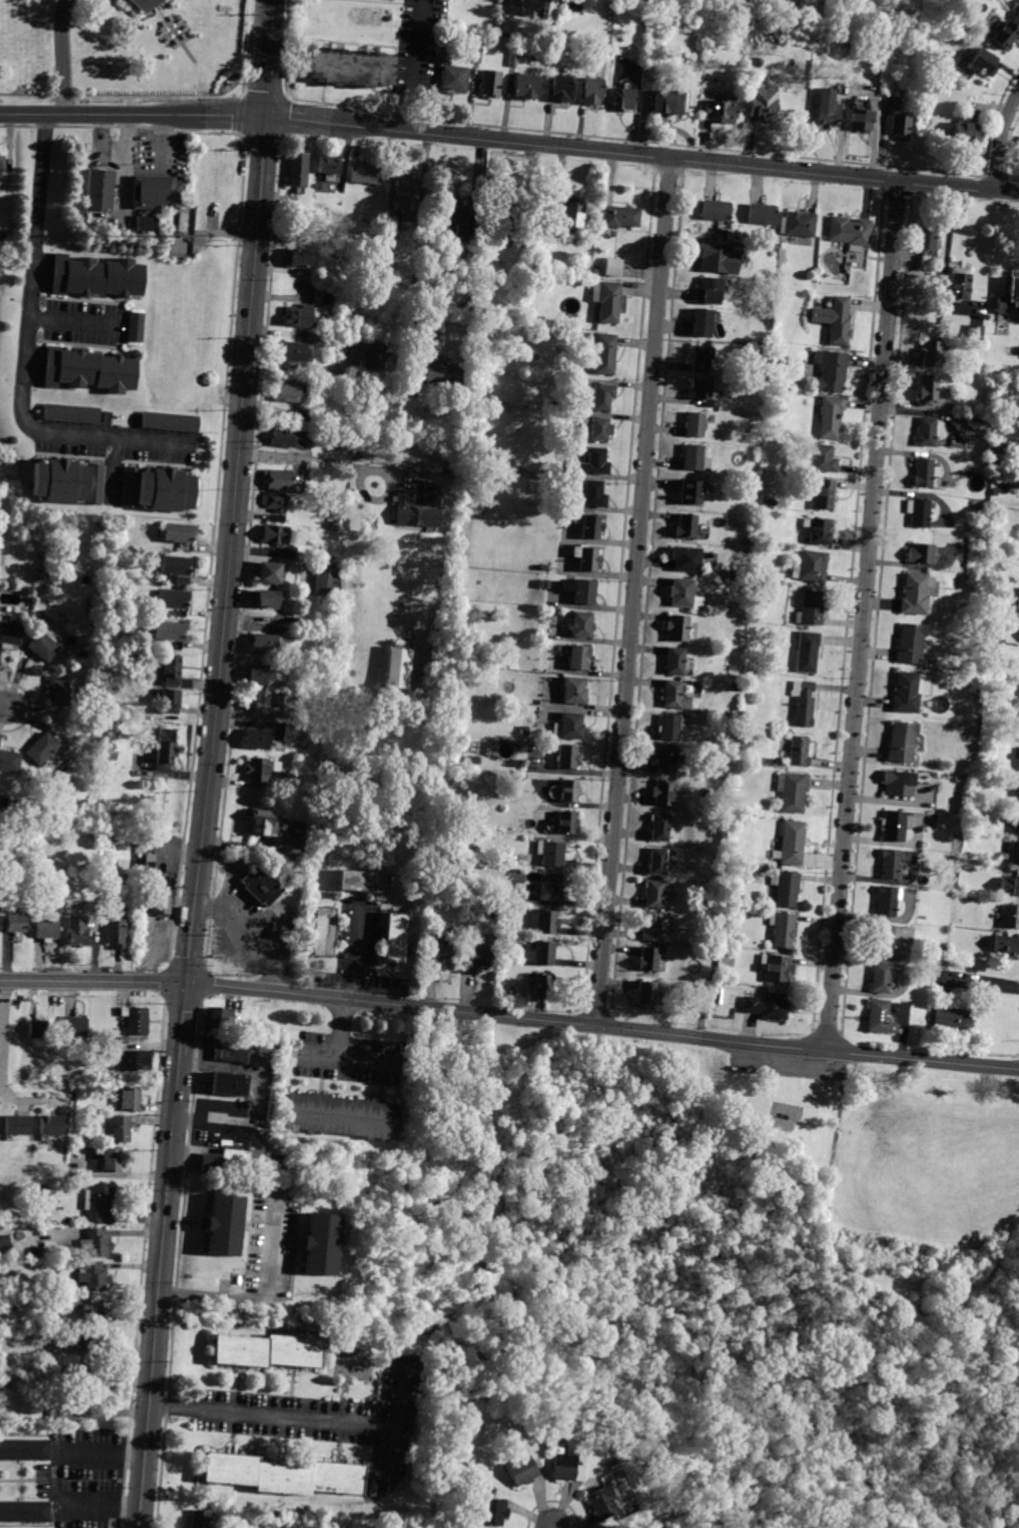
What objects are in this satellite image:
building: (140, 5)
building: (539, 7)
building: (1017, 13)
building: (1004, 35)
building: (447, 40)
building: (476, 56)
road: (64, 57)
park: (132, 57)
building: (513, 57)
building: (983, 62)
road: (415, 66)
building: (351, 69)
building: (456, 79)
building: (491, 83)
building: (526, 86)
building: (559, 89)
building: (591, 93)
building: (622, 99)
building: (668, 102)
building: (763, 104)
building: (826, 109)
building: (721, 111)
road: (129, 115)
traffic signals: (260, 118)
building: (861, 120)
building: (900, 125)
building: (965, 133)
road: (1000, 140)
road: (115, 148)
road: (639, 153)
building: (2, 166)
building: (330, 167)
building: (298, 172)
building: (366, 174)
building: (99, 191)
building: (156, 193)
building: (407, 198)
building: (508, 207)
building: (715, 210)
building: (761, 215)
building: (457, 216)
building: (573, 216)
building: (620, 217)
building: (181, 222)
building: (145, 224)
building: (798, 224)
building: (849, 232)
road: (418, 234)
building: (521, 237)
building: (928, 241)
building: (471, 249)
building: (300, 257)
building: (714, 258)
building: (613, 267)
building: (96, 277)
building: (546, 282)
building: (957, 284)
building: (368, 290)
building: (710, 291)
building: (1009, 295)
road: (888, 297)
building: (607, 300)
building: (298, 317)
road: (69, 319)
building: (834, 319)
building: (701, 322)
building: (135, 327)
building: (975, 332)
building: (315, 337)
road: (27, 351)
building: (293, 352)
building: (605, 353)
building: (932, 353)
building: (374, 356)
building: (702, 358)
road: (301, 368)
building: (91, 369)
building: (436, 370)
building: (831, 371)
building: (927, 389)
building: (287, 392)
building: (703, 392)
building: (604, 397)
building: (832, 417)
building: (303, 418)
building: (76, 419)
building: (697, 424)
building: (169, 426)
building: (601, 429)
building: (926, 432)
building: (291, 437)
building: (359, 443)
building: (998, 445)
building: (458, 457)
road: (298, 458)
building: (695, 458)
building: (824, 458)
building: (595, 461)
building: (924, 472)
road: (389, 477)
building: (278, 480)
building: (59, 483)
building: (159, 490)
building: (691, 492)
building: (595, 494)
building: (433, 495)
building: (824, 495)
building: (274, 501)
building: (770, 503)
building: (919, 512)
building: (414, 513)
building: (275, 518)
building: (590, 525)
building: (686, 526)
building: (818, 530)
building: (177, 535)
building: (274, 535)
building: (747, 543)
building: (920, 554)
building: (586, 557)
building: (686, 559)
building: (811, 566)
building: (176, 568)
building: (543, 568)
building: (267, 572)
building: (39, 574)
building: (731, 574)
building: (327, 579)
building: (545, 584)
road: (634, 590)
building: (582, 591)
building: (684, 594)
building: (915, 594)
building: (265, 599)
building: (174, 601)
building: (1018, 606)
building: (735, 609)
building: (810, 609)
building: (299, 621)
building: (582, 625)
building: (678, 628)
building: (167, 631)
building: (290, 631)
building: (10, 632)
building: (268, 644)
building: (911, 644)
building: (44, 646)
building: (806, 651)
building: (579, 658)
building: (675, 661)
building: (398, 668)
building: (171, 669)
building: (259, 674)
building: (736, 687)
building: (59, 691)
building: (574, 691)
building: (910, 692)
building: (672, 694)
building: (267, 700)
building: (170, 701)
building: (803, 703)
road: (2, 706)
building: (671, 726)
building: (569, 727)
building: (744, 730)
building: (525, 731)
road: (852, 731)
building: (291, 733)
building: (256, 739)
building: (903, 742)
building: (41, 749)
building: (166, 749)
building: (797, 750)
building: (567, 756)
building: (474, 760)
building: (667, 760)
building: (9, 762)
road: (210, 764)
building: (320, 767)
building: (261, 768)
building: (899, 783)
building: (570, 791)
building: (793, 791)
building: (664, 793)
building: (1018, 793)
building: (987, 797)
building: (263, 823)
building: (568, 823)
building: (1015, 823)
building: (895, 825)
building: (662, 827)
building: (299, 828)
building: (793, 842)
building: (551, 853)
building: (1014, 853)
building: (1002, 856)
building: (954, 859)
building: (658, 861)
building: (890, 863)
building: (364, 882)
building: (262, 884)
building: (549, 887)
building: (1009, 887)
building: (786, 888)
building: (155, 894)
building: (655, 894)
building: (959, 899)
building: (888, 902)
building: (1010, 916)
building: (544, 921)
building: (16, 924)
building: (654, 926)
building: (782, 929)
building: (46, 931)
building: (115, 932)
building: (324, 932)
building: (77, 933)
road: (248, 934)
building: (396, 938)
building: (883, 940)
building: (1004, 946)
building: (945, 951)
road: (356, 952)
building: (441, 952)
building: (545, 953)
building: (953, 953)
building: (481, 957)
building: (649, 959)
building: (776, 968)
building: (882, 977)
traffic signals: (185, 982)
building: (543, 985)
road: (979, 985)
building: (647, 994)
building: (767, 1006)
road: (510, 1015)
building: (218, 1017)
building: (880, 1017)
building: (948, 1019)
building: (134, 1020)
building: (75, 1027)
building: (39, 1029)
road: (3, 1035)
building: (231, 1050)
road: (336, 1054)
building: (133, 1060)
building: (228, 1084)
road: (29, 1100)
building: (129, 1100)
building: (344, 1118)
building: (17, 1125)
building: (52, 1126)
building: (119, 1129)
building: (111, 1160)
building: (225, 1163)
building: (98, 1202)
building: (219, 1222)
building: (314, 1242)
building: (6, 1243)
building: (96, 1243)
park: (770, 1267)
building: (93, 1277)
building: (238, 1281)
road: (261, 1294)
building: (89, 1309)
building: (80, 1336)
building: (388, 1342)
building: (264, 1351)
building: (89, 1375)
building: (568, 1409)
building: (66, 1410)
road: (273, 1416)
building: (24, 1450)
building: (566, 1468)
building: (522, 1471)
building: (277, 1474)
road: (56, 1479)
building: (370, 1487)
building: (602, 1503)
building: (24, 1512)
building: (493, 1512)
building: (200, 1519)
road: (552, 1527)

